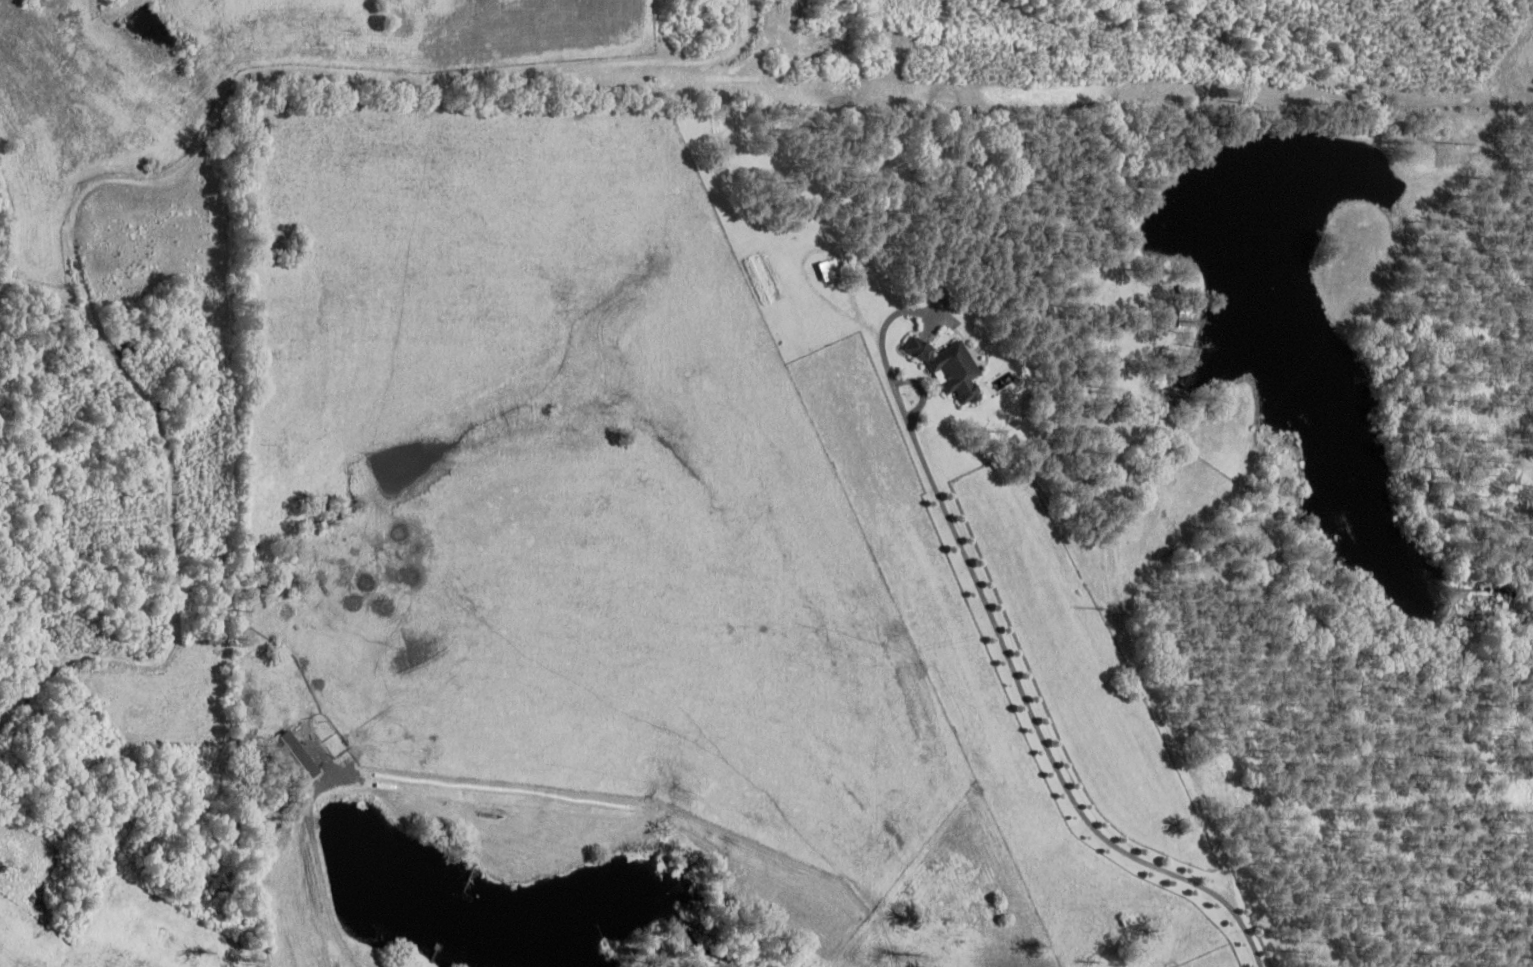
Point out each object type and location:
building: (829, 270)
building: (951, 370)
building: (294, 757)

